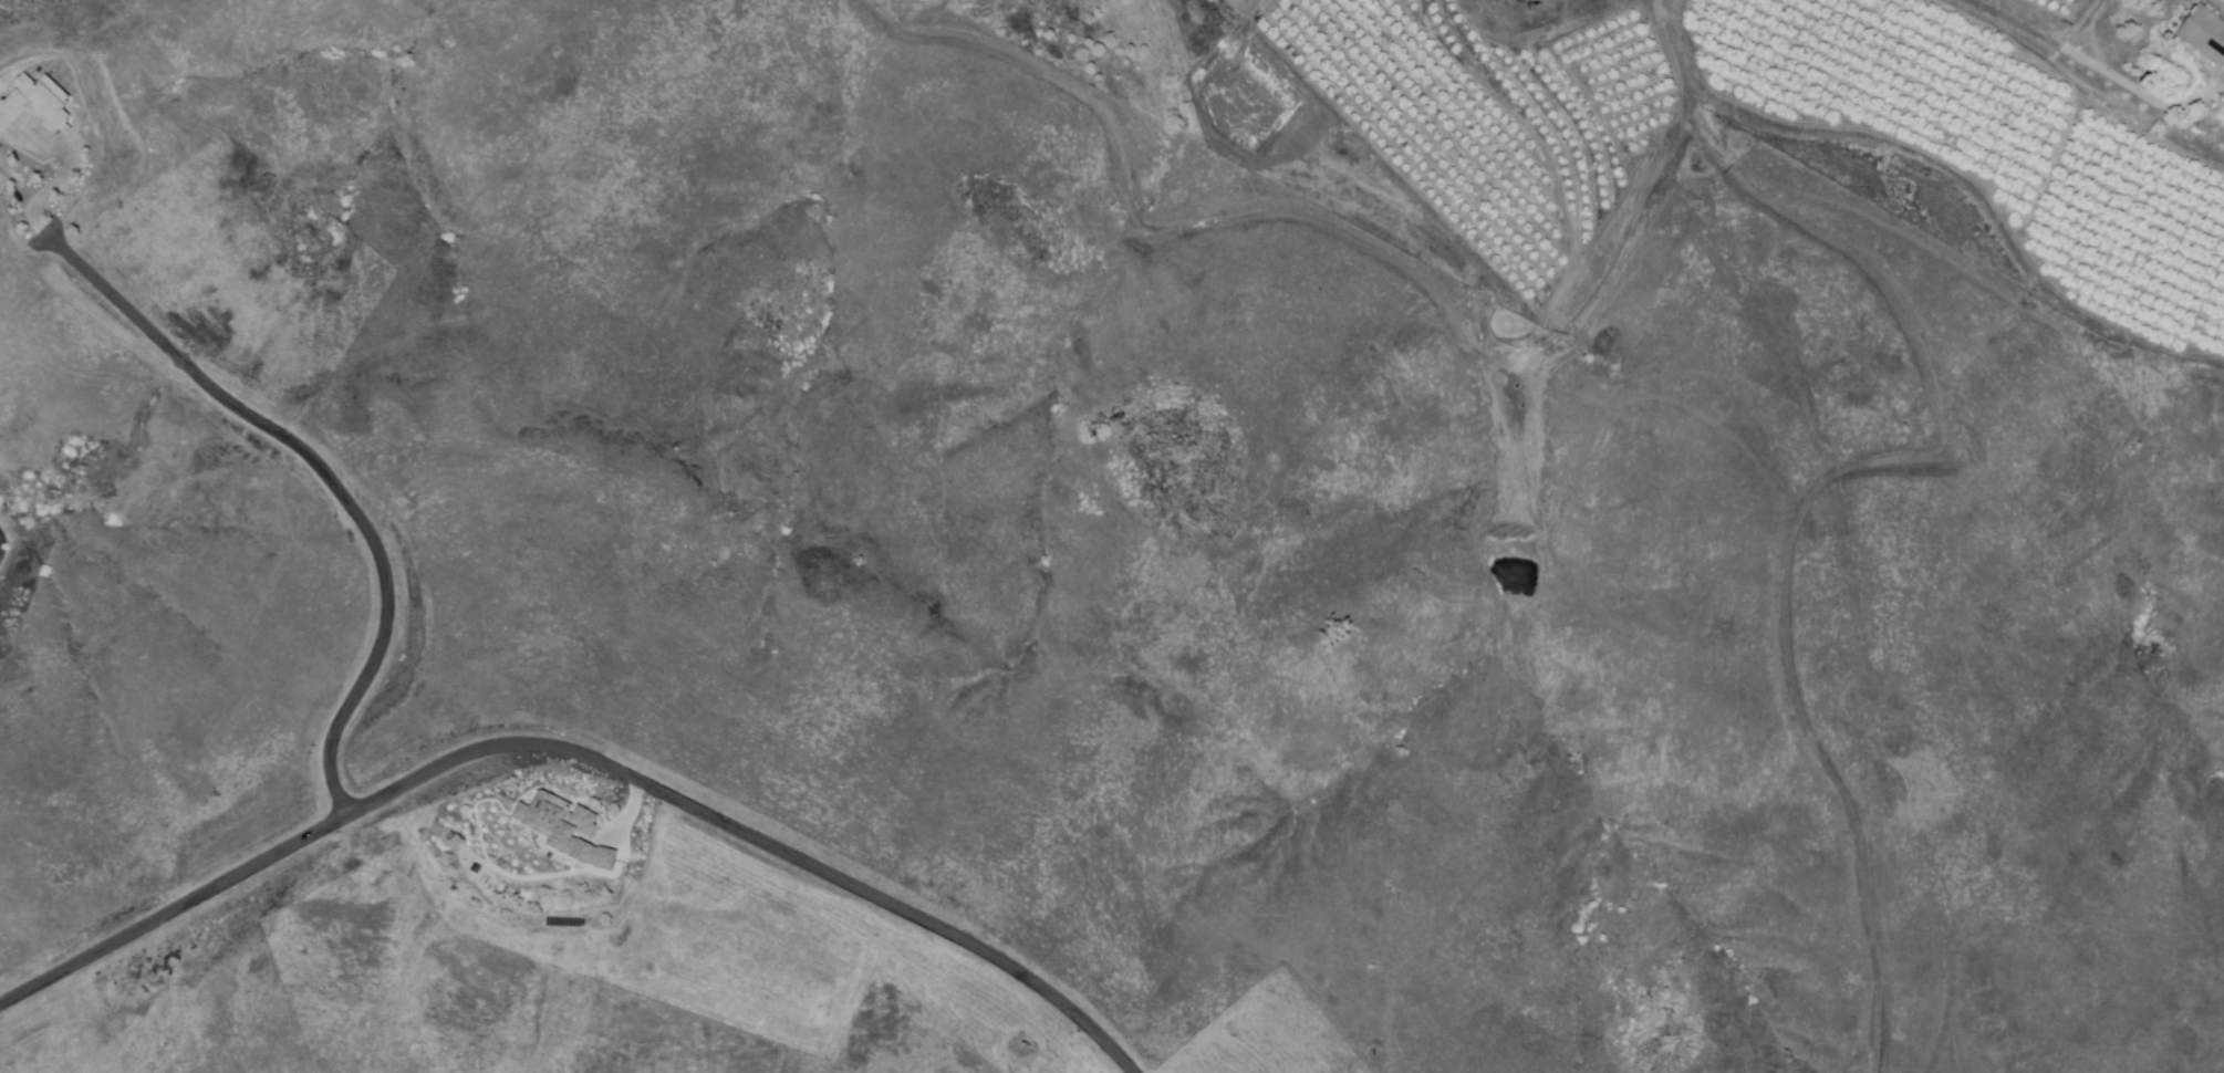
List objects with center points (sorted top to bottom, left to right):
crop: (1238, 2)
crop: (2067, 12)
road: (2095, 29)
building: (2206, 32)
road: (2092, 64)
building: (37, 104)
road: (1358, 241)
road: (329, 479)
road: (582, 754)
building: (567, 827)
building: (457, 841)

